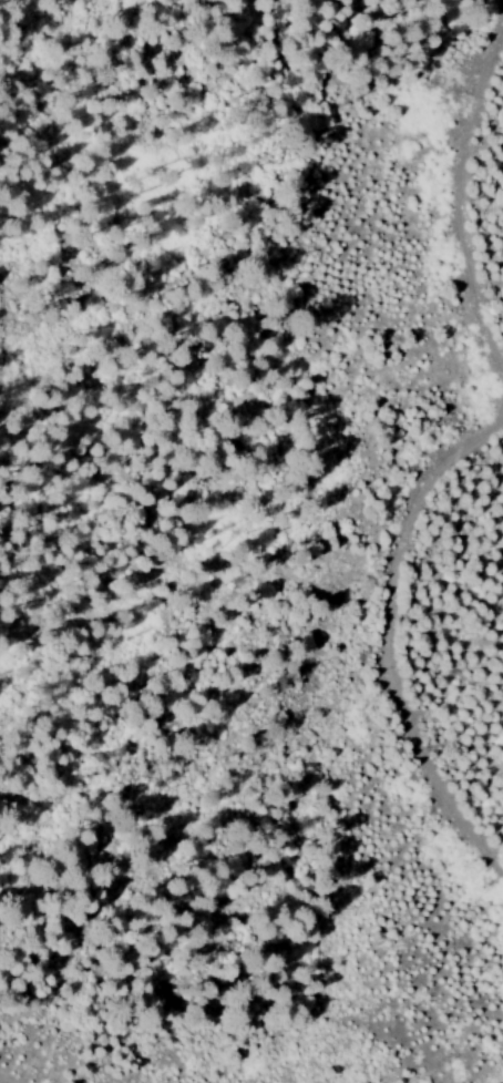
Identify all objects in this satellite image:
road: (502, 909)

